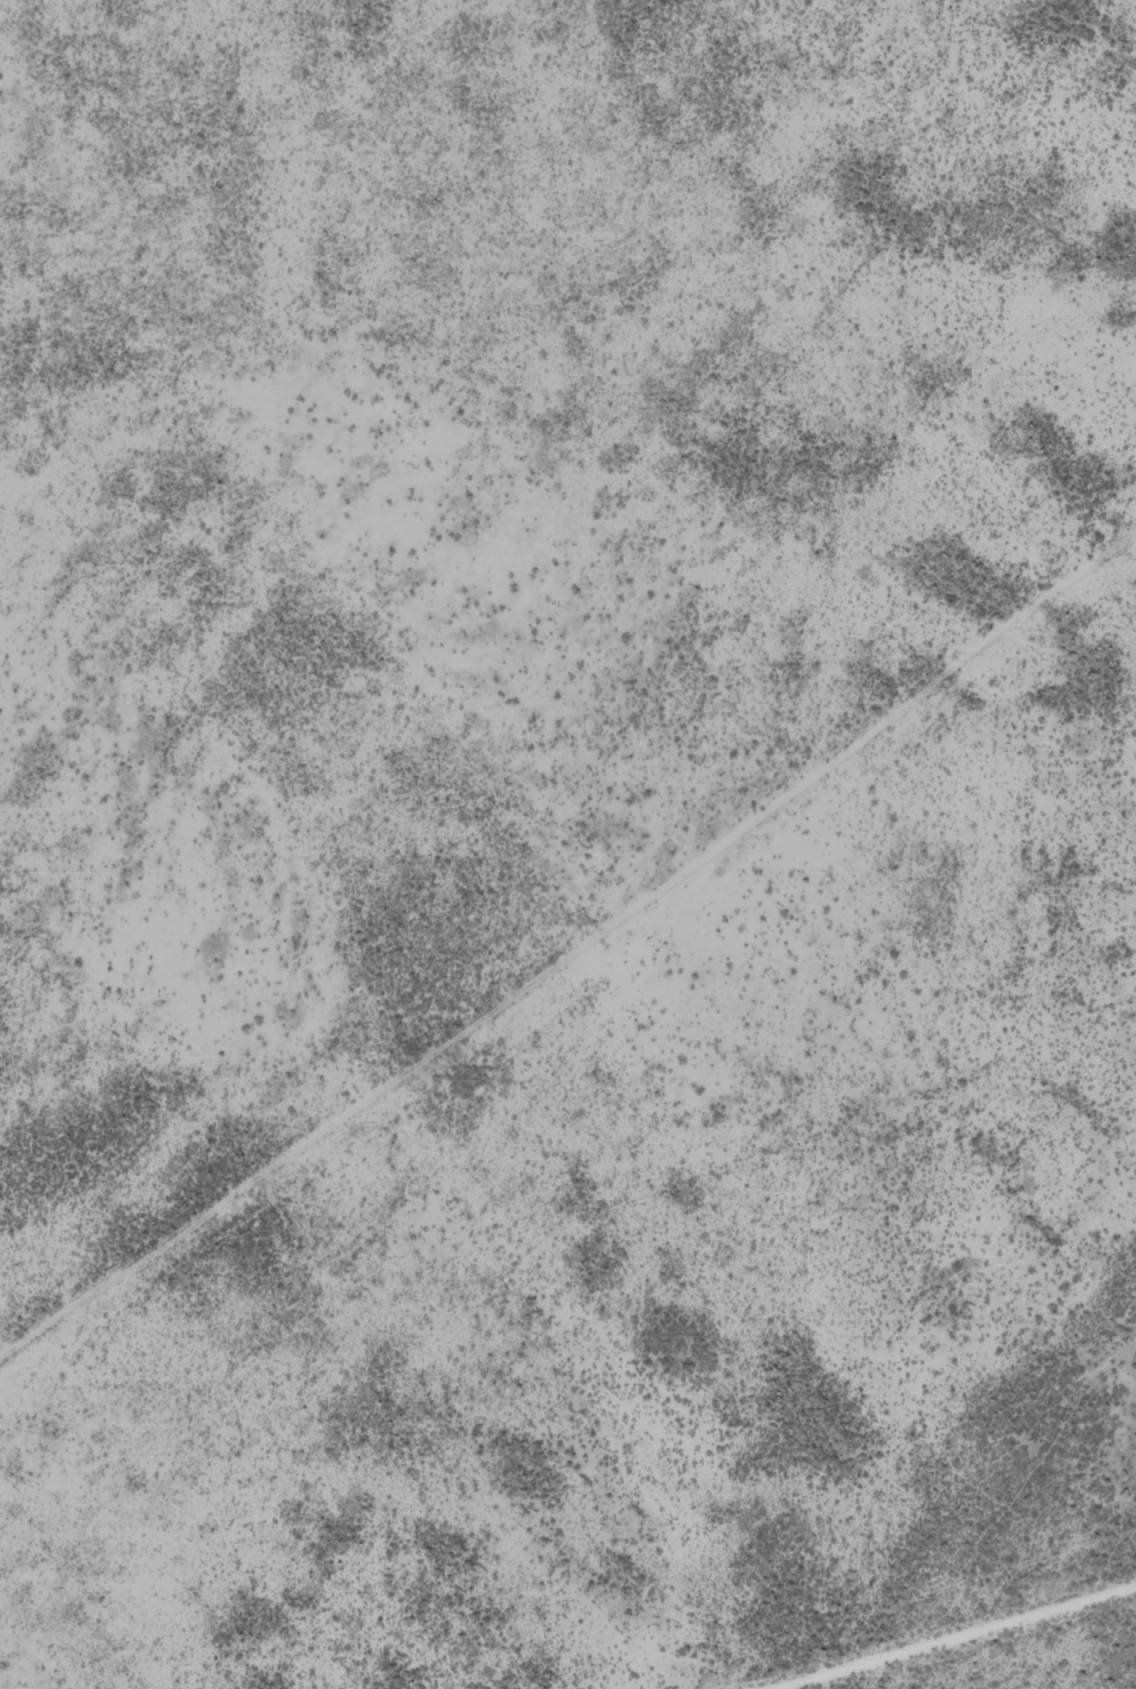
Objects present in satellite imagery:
road: (986, 1646)

